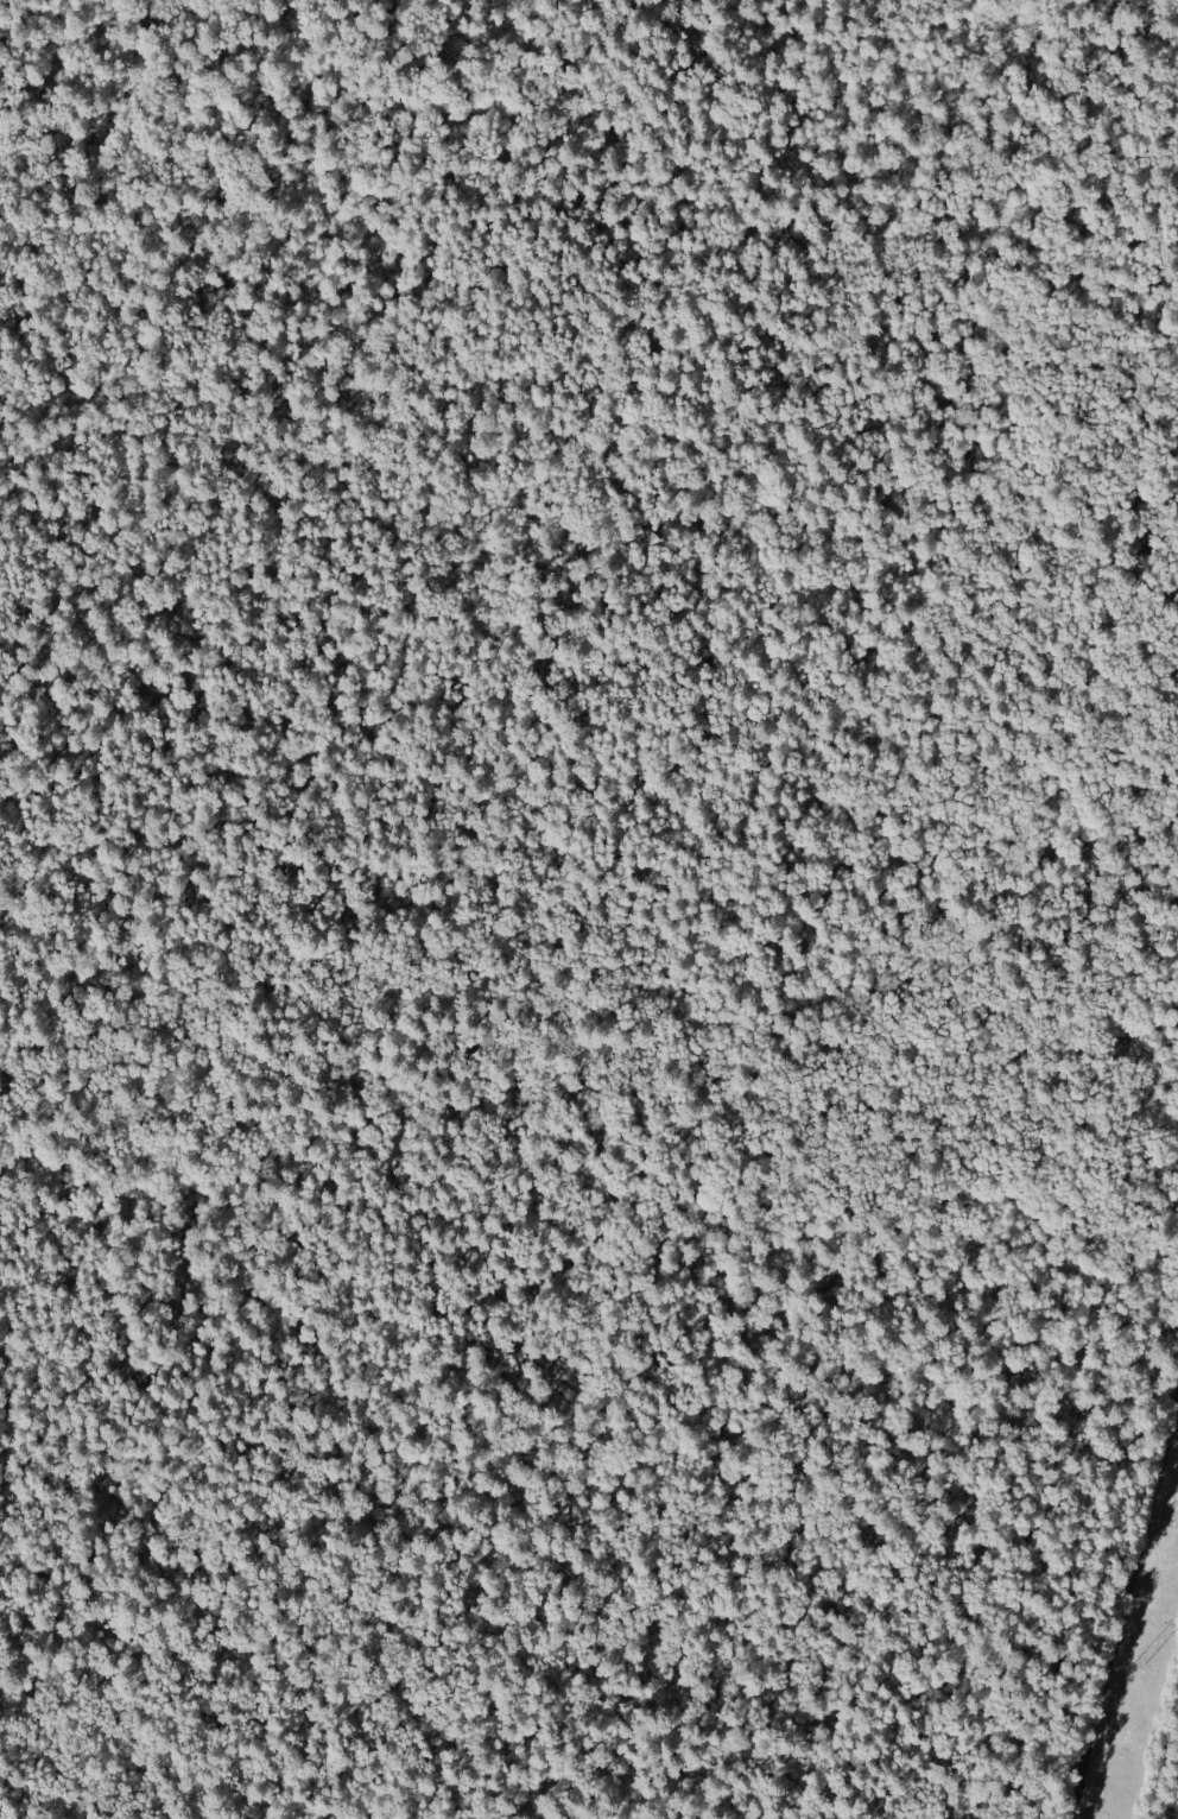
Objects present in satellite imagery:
road: (1128, 50)
road: (1135, 1646)
power tower: (1139, 1663)

